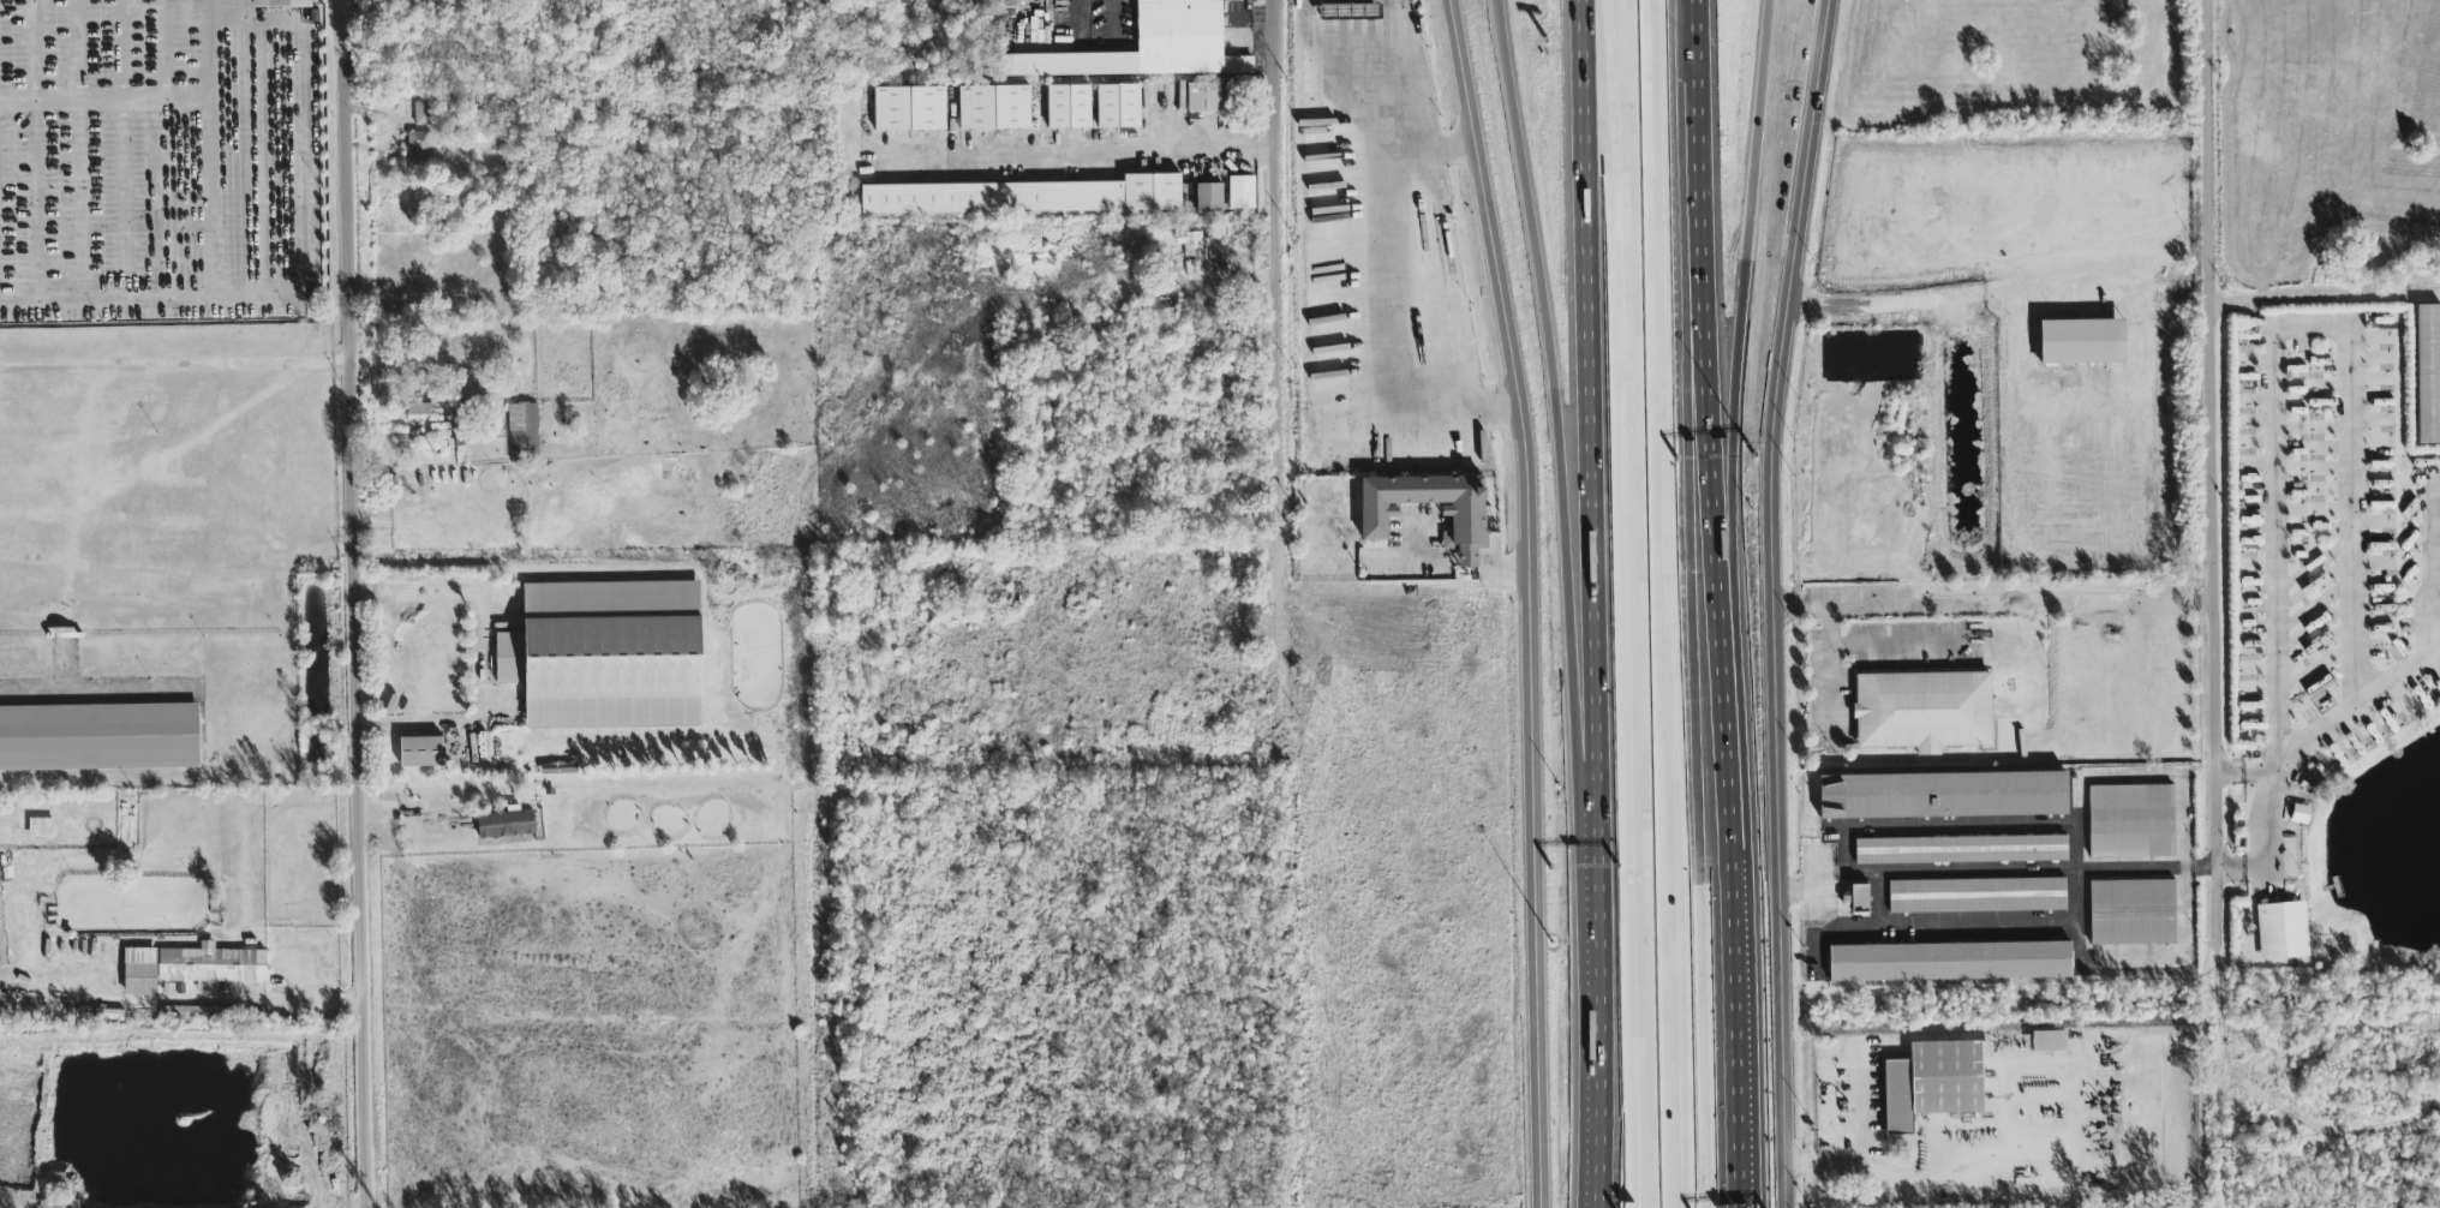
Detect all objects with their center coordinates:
building: (281, 4)
building: (1346, 11)
building: (1149, 47)
road: (1610, 68)
building: (1206, 98)
building: (1117, 107)
building: (1067, 108)
building: (993, 109)
building: (909, 110)
building: (425, 114)
road: (1365, 116)
building: (420, 149)
road: (1089, 151)
building: (1240, 193)
building: (1025, 198)
building: (1208, 199)
road: (1446, 228)
building: (1191, 253)
road: (1706, 253)
road: (1747, 255)
road: (297, 257)
road: (2324, 297)
road: (1939, 298)
road: (1379, 317)
road: (2286, 330)
building: (2081, 342)
road: (175, 365)
building: (2428, 375)
building: (415, 405)
building: (524, 435)
road: (1561, 474)
road: (1591, 476)
road: (2211, 507)
building: (1466, 525)
road: (1413, 560)
road: (1466, 560)
road: (1503, 562)
road: (2430, 570)
road: (1531, 600)
road: (1772, 602)
road: (357, 603)
road: (1284, 603)
road: (1657, 603)
road: (1690, 603)
road: (1628, 604)
road: (1874, 608)
building: (610, 657)
park: (610, 657)
road: (486, 662)
road: (1831, 680)
building: (1924, 711)
building: (100, 742)
road: (2296, 752)
building: (420, 753)
road: (2241, 772)
building: (1944, 795)
building: (2131, 821)
building: (504, 825)
building: (41, 830)
building: (1961, 849)
road: (1727, 856)
building: (1976, 895)
building: (1855, 899)
building: (2133, 913)
road: (2068, 926)
building: (2281, 932)
building: (1951, 962)
building: (190, 969)
road: (1681, 1016)
building: (2047, 1042)
road: (1595, 1081)
building: (1934, 1082)
road: (1860, 1107)
road: (1640, 1159)
road: (1895, 1180)

